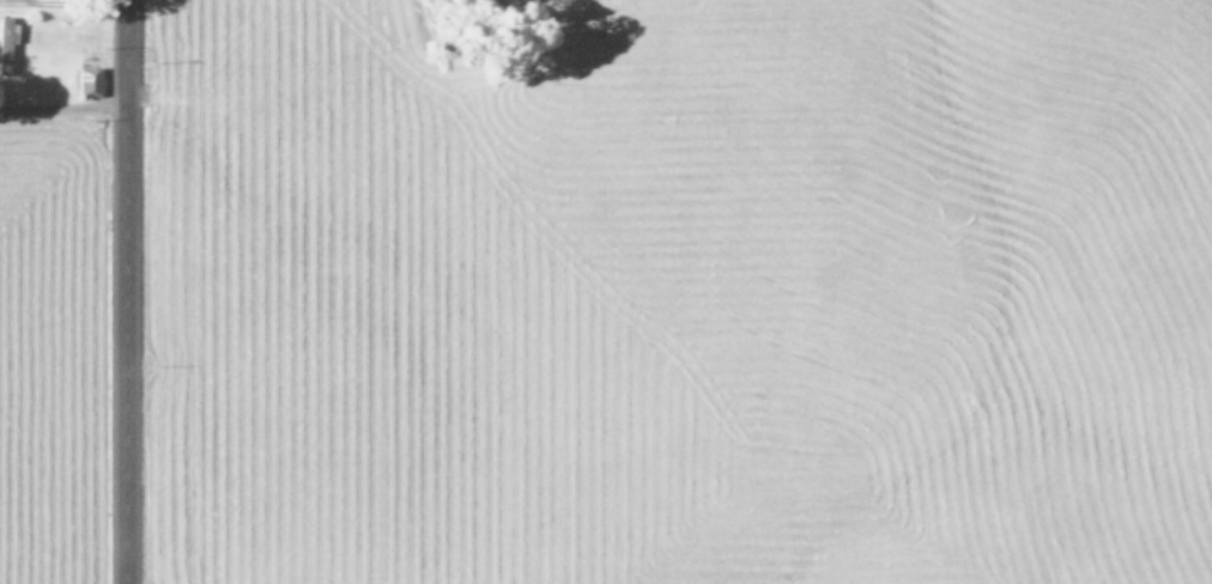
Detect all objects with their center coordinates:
building: (5, 39)
building: (86, 81)
road: (61, 108)
road: (123, 292)

